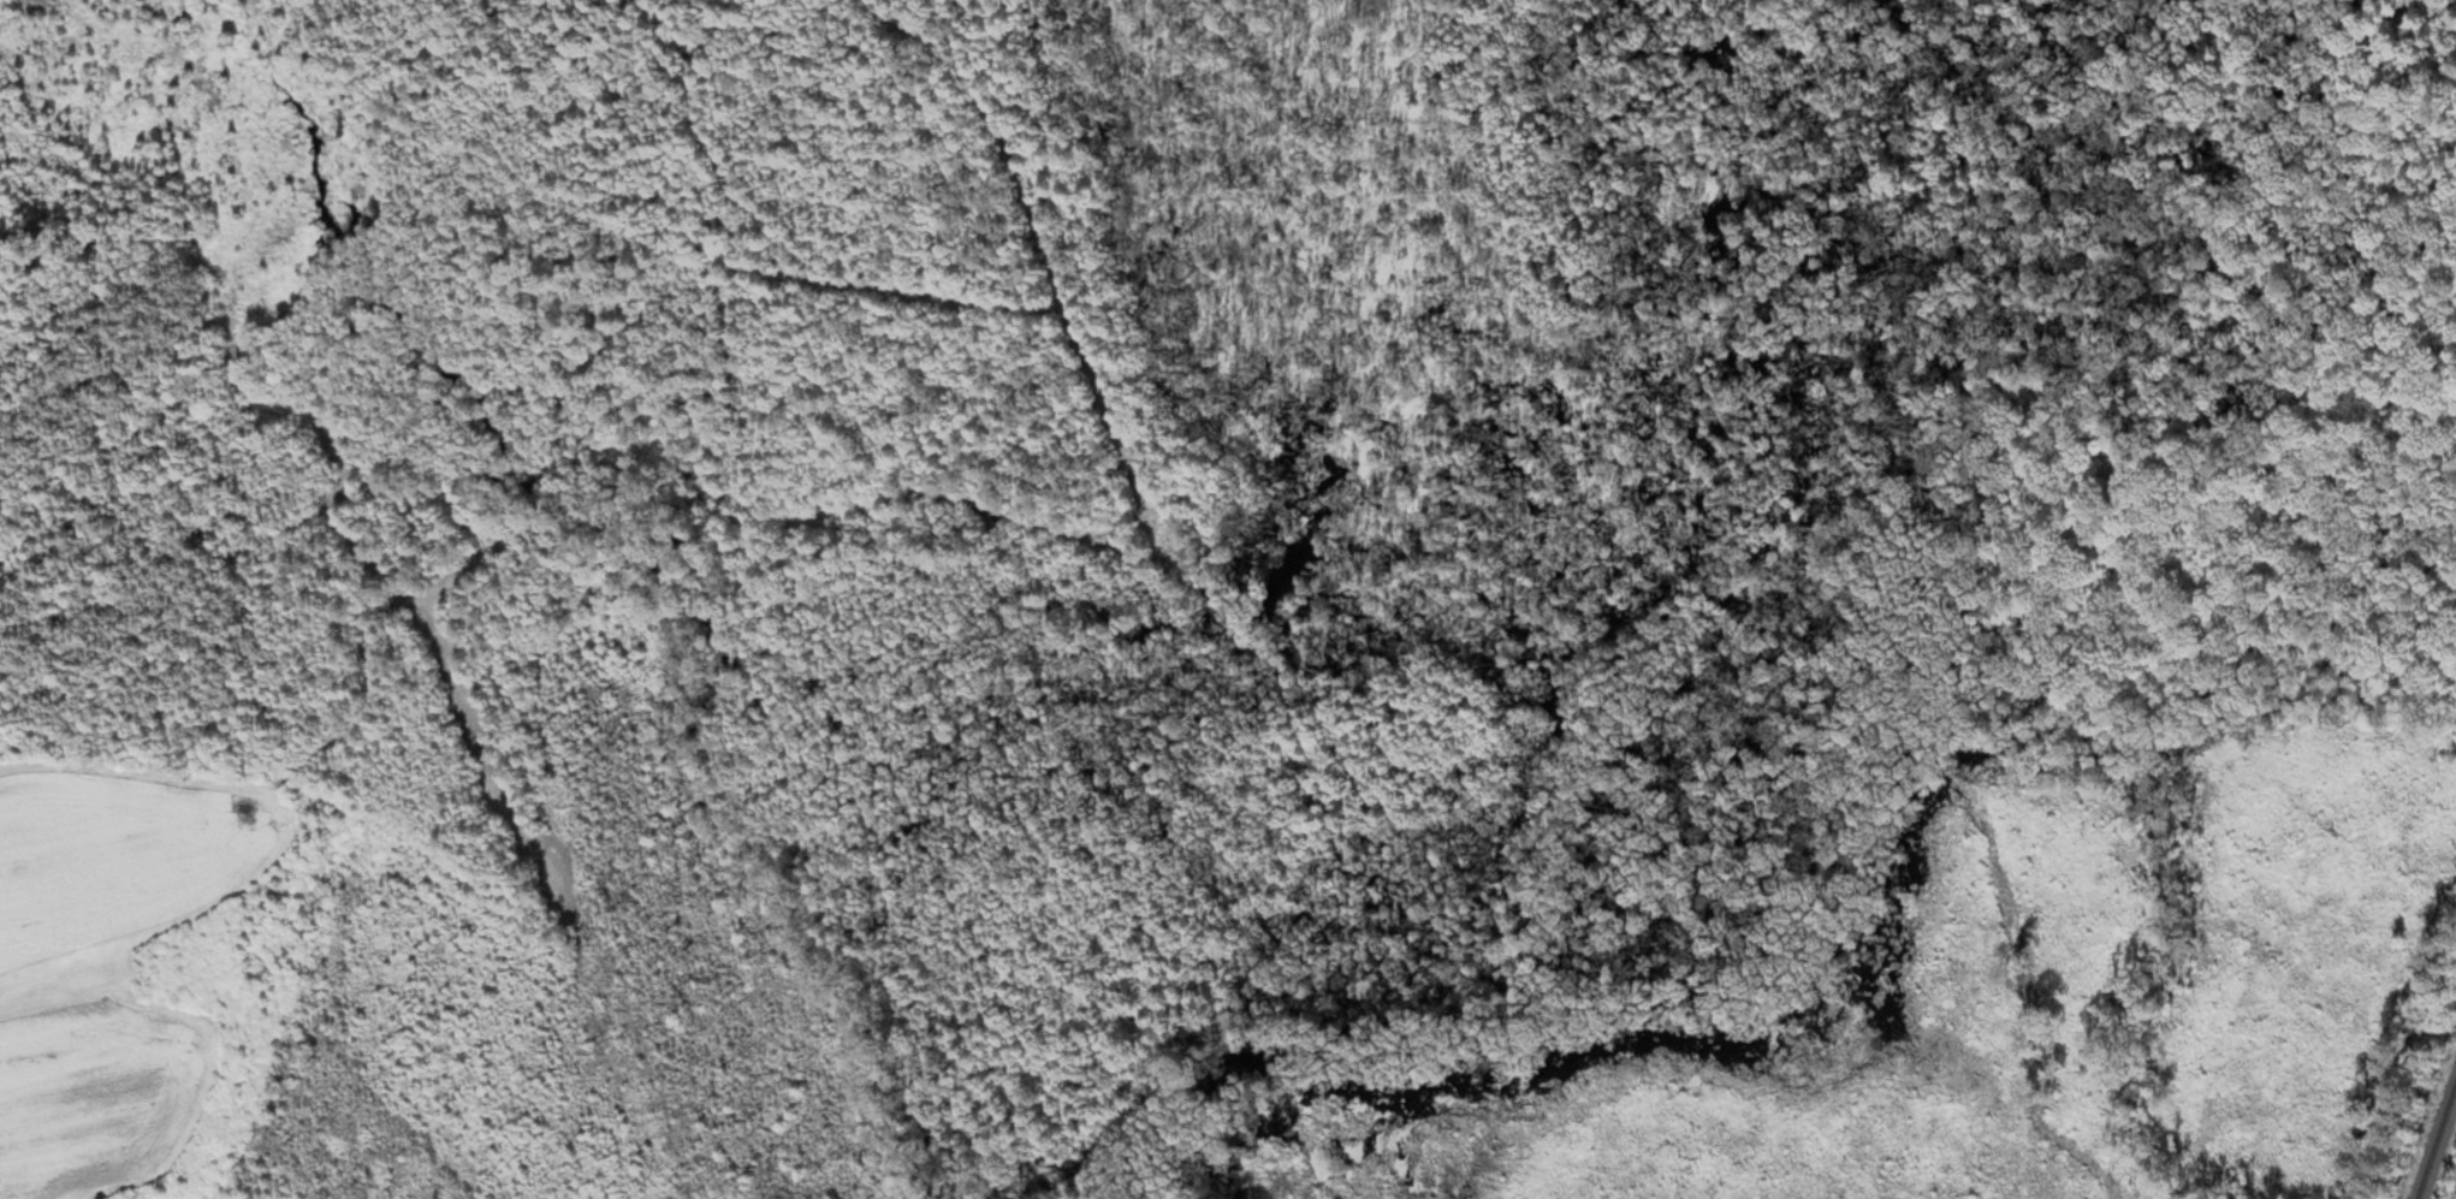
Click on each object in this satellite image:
railway: (2437, 1144)

